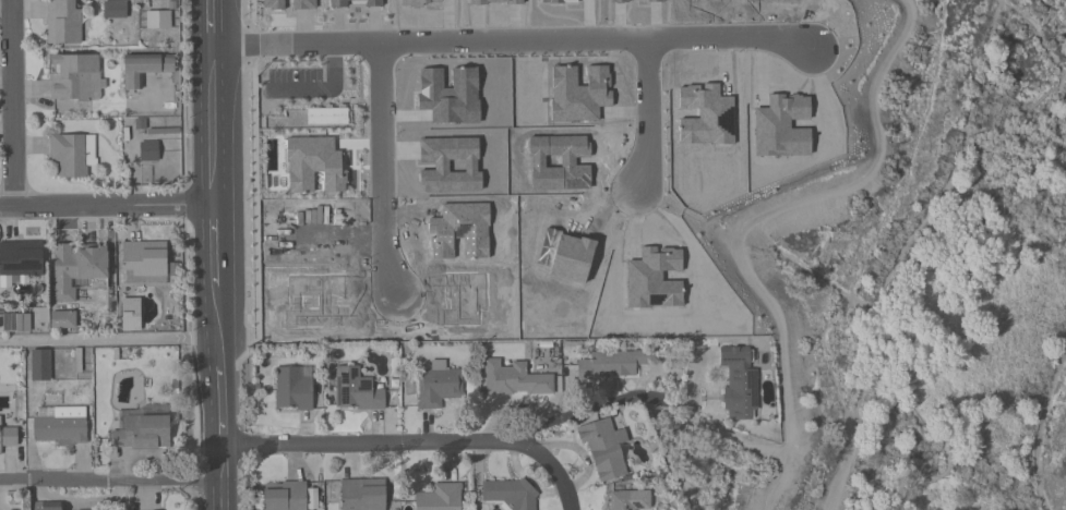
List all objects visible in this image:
building: (359, 0)
building: (762, 2)
building: (115, 10)
building: (157, 21)
building: (63, 22)
road: (1035, 28)
road: (513, 42)
building: (619, 47)
building: (386, 52)
building: (465, 57)
building: (145, 69)
building: (76, 77)
road: (215, 102)
road: (14, 104)
building: (777, 105)
road: (645, 119)
building: (504, 149)
building: (148, 151)
building: (73, 155)
road: (954, 170)
road: (384, 172)
road: (108, 206)
building: (420, 222)
building: (309, 223)
road: (217, 243)
building: (21, 259)
building: (514, 263)
building: (144, 264)
building: (678, 265)
building: (77, 270)
park: (908, 279)
road: (746, 280)
building: (62, 319)
building: (16, 323)
road: (883, 339)
road: (109, 342)
building: (40, 365)
building: (612, 366)
building: (515, 379)
building: (739, 386)
building: (294, 388)
building: (438, 388)
building: (356, 391)
road: (219, 394)
road: (589, 409)
building: (60, 426)
road: (1041, 430)
building: (141, 433)
building: (8, 437)
road: (412, 446)
building: (604, 450)
road: (109, 478)
building: (510, 494)
building: (362, 495)
building: (285, 496)
building: (440, 498)
building: (628, 501)
building: (46, 506)

